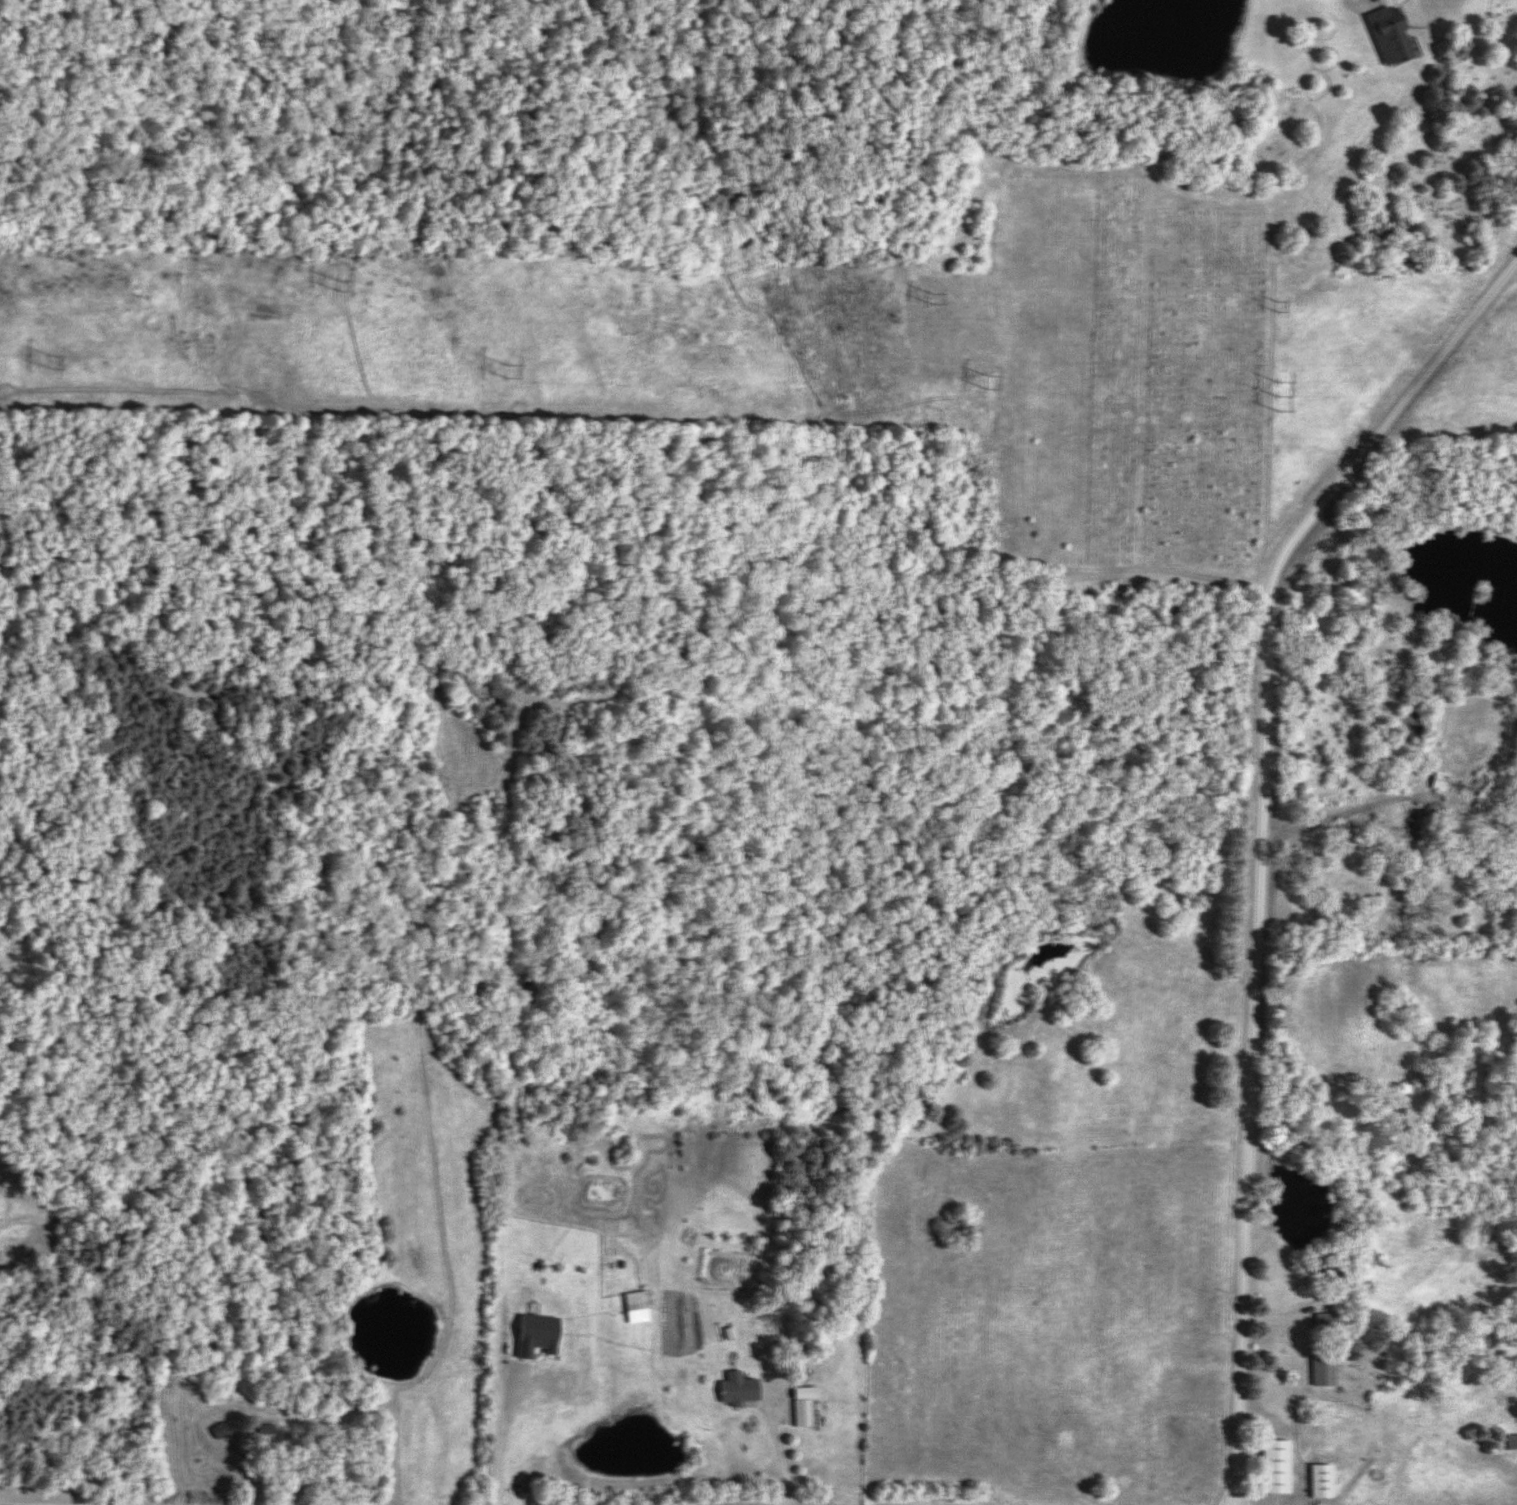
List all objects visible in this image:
road: (1354, 4)
building: (1386, 38)
power tower: (340, 282)
power tower: (931, 297)
power tower: (1267, 305)
power tower: (48, 362)
power tower: (509, 374)
power tower: (985, 382)
power tower: (1275, 397)
building: (1437, 782)
road: (1265, 843)
building: (631, 1303)
building: (1324, 1322)
building: (535, 1336)
building: (1322, 1373)
building: (737, 1393)
building: (800, 1414)
building: (267, 1430)
road: (502, 1437)
building: (1510, 1443)
road: (784, 1454)
building: (1273, 1468)
building: (1319, 1483)

